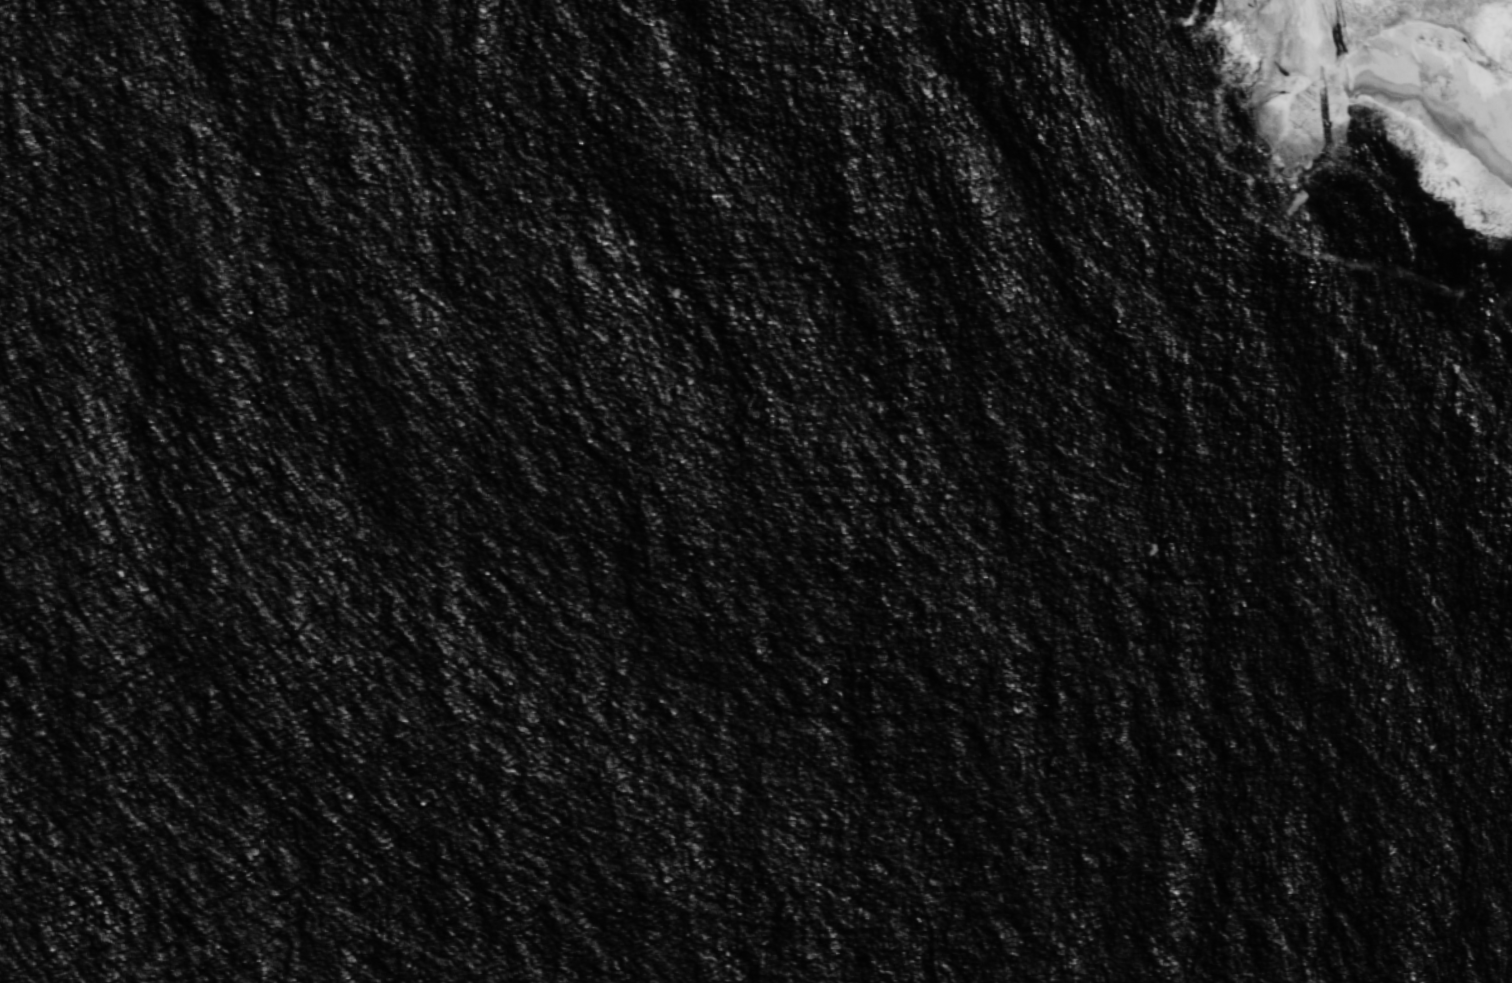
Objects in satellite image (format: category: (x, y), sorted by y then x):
road: (1509, 0)
road: (1511, 0)
road: (1357, 19)
road: (1389, 19)
road: (1449, 24)
road: (1354, 25)
park: (1411, 35)
road: (1348, 37)

